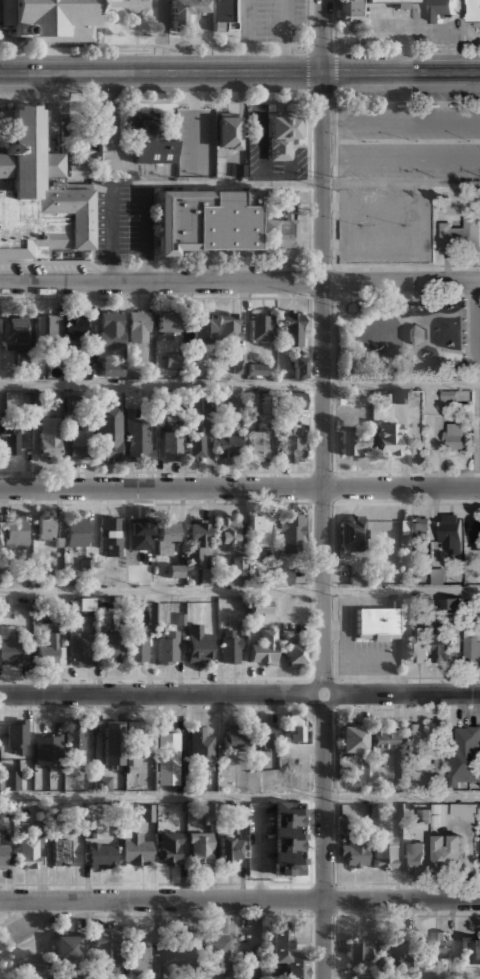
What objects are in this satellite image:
building: (399, 2)
building: (442, 8)
building: (186, 9)
building: (352, 10)
building: (474, 11)
building: (223, 15)
building: (50, 19)
parking lot: (273, 20)
parking lot: (396, 24)
road: (210, 36)
road: (248, 36)
road: (287, 36)
road: (240, 73)
road: (402, 121)
road: (197, 127)
building: (228, 131)
building: (281, 134)
building: (149, 140)
parking lot: (414, 141)
parking lot: (196, 142)
building: (84, 149)
road: (402, 159)
building: (239, 170)
road: (110, 177)
road: (295, 182)
building: (38, 193)
building: (205, 220)
parking lot: (123, 224)
building: (281, 224)
parking lot: (384, 225)
road: (146, 232)
building: (461, 235)
road: (240, 283)
road: (478, 317)
building: (46, 326)
building: (139, 326)
building: (168, 326)
building: (75, 327)
building: (203, 327)
building: (229, 327)
building: (261, 328)
building: (290, 329)
building: (15, 330)
building: (112, 330)
building: (416, 333)
building: (85, 359)
building: (26, 360)
building: (175, 360)
building: (240, 361)
building: (300, 366)
building: (110, 369)
building: (257, 369)
road: (239, 385)
building: (399, 395)
building: (452, 398)
building: (55, 400)
building: (294, 400)
building: (268, 403)
building: (0, 421)
parking lot: (478, 429)
building: (109, 432)
building: (196, 435)
building: (455, 435)
building: (49, 438)
building: (137, 439)
building: (387, 439)
building: (10, 440)
building: (354, 442)
building: (79, 444)
building: (292, 444)
building: (171, 445)
building: (228, 446)
building: (259, 446)
road: (239, 488)
road: (324, 489)
building: (415, 529)
building: (258, 530)
building: (14, 531)
building: (48, 531)
building: (75, 531)
building: (227, 531)
building: (353, 532)
building: (451, 532)
building: (475, 532)
building: (139, 535)
building: (165, 535)
building: (291, 535)
building: (110, 536)
building: (197, 539)
building: (242, 566)
building: (174, 571)
building: (1, 574)
building: (206, 575)
building: (279, 575)
building: (437, 576)
road: (402, 590)
road: (162, 591)
building: (450, 603)
building: (84, 604)
building: (2, 605)
building: (259, 606)
building: (406, 612)
building: (150, 613)
building: (376, 623)
building: (472, 642)
building: (417, 645)
building: (8, 646)
building: (198, 646)
building: (112, 647)
building: (137, 647)
building: (167, 647)
building: (230, 647)
building: (80, 648)
building: (264, 648)
building: (443, 649)
building: (48, 651)
building: (294, 651)
road: (240, 695)
building: (296, 729)
building: (15, 736)
building: (74, 737)
building: (248, 737)
building: (351, 739)
building: (382, 739)
building: (418, 740)
building: (137, 741)
building: (113, 744)
building: (46, 748)
building: (199, 750)
building: (465, 756)
building: (168, 759)
building: (11, 779)
building: (0, 782)
building: (101, 783)
building: (479, 784)
road: (240, 797)
building: (463, 809)
building: (147, 813)
building: (24, 826)
building: (89, 831)
building: (286, 838)
building: (169, 848)
building: (135, 849)
building: (199, 849)
building: (228, 850)
building: (354, 851)
building: (383, 851)
building: (448, 852)
building: (63, 853)
building: (28, 854)
building: (101, 855)
building: (4, 856)
building: (413, 858)
road: (239, 901)
road: (11, 917)
parking lot: (34, 922)
road: (33, 937)
building: (431, 945)
park: (7, 946)
building: (65, 947)
building: (395, 948)
building: (285, 950)
building: (470, 950)
building: (360, 951)
building: (180, 953)
building: (215, 953)
building: (105, 956)
building: (139, 956)
building: (33, 966)
building: (79, 977)

